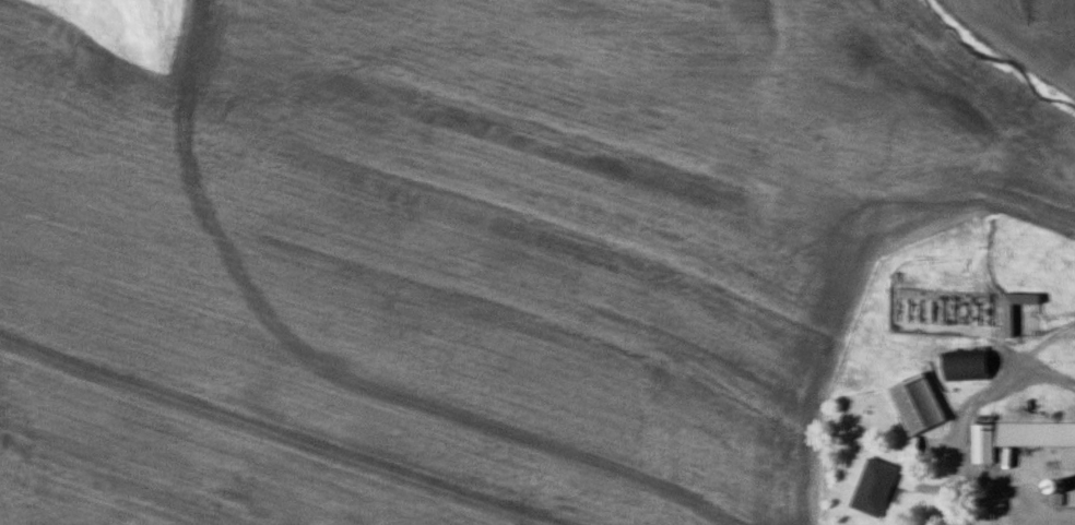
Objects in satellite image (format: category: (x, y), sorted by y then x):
building: (978, 308)
building: (1000, 320)
building: (956, 366)
building: (910, 403)
building: (1015, 437)
building: (901, 449)
building: (867, 487)
road: (1042, 515)

